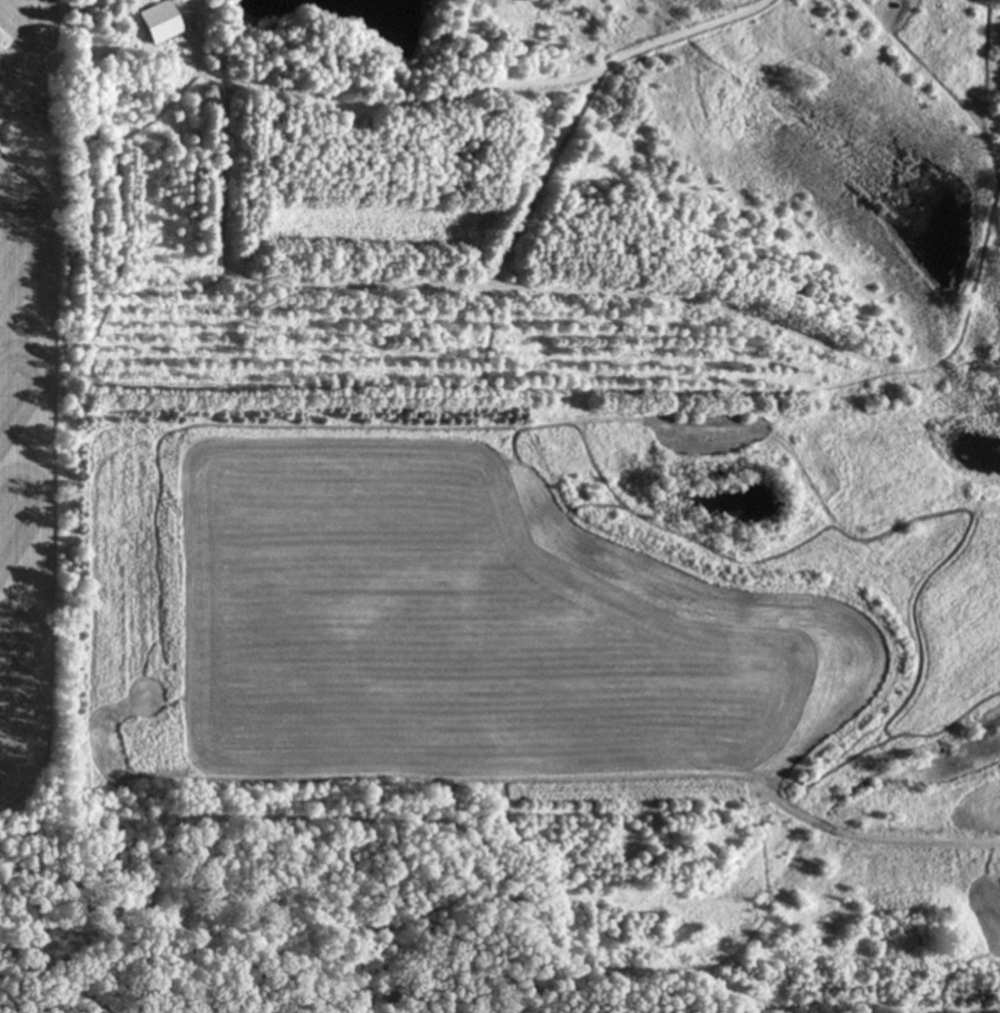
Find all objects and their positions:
building: (155, 24)

